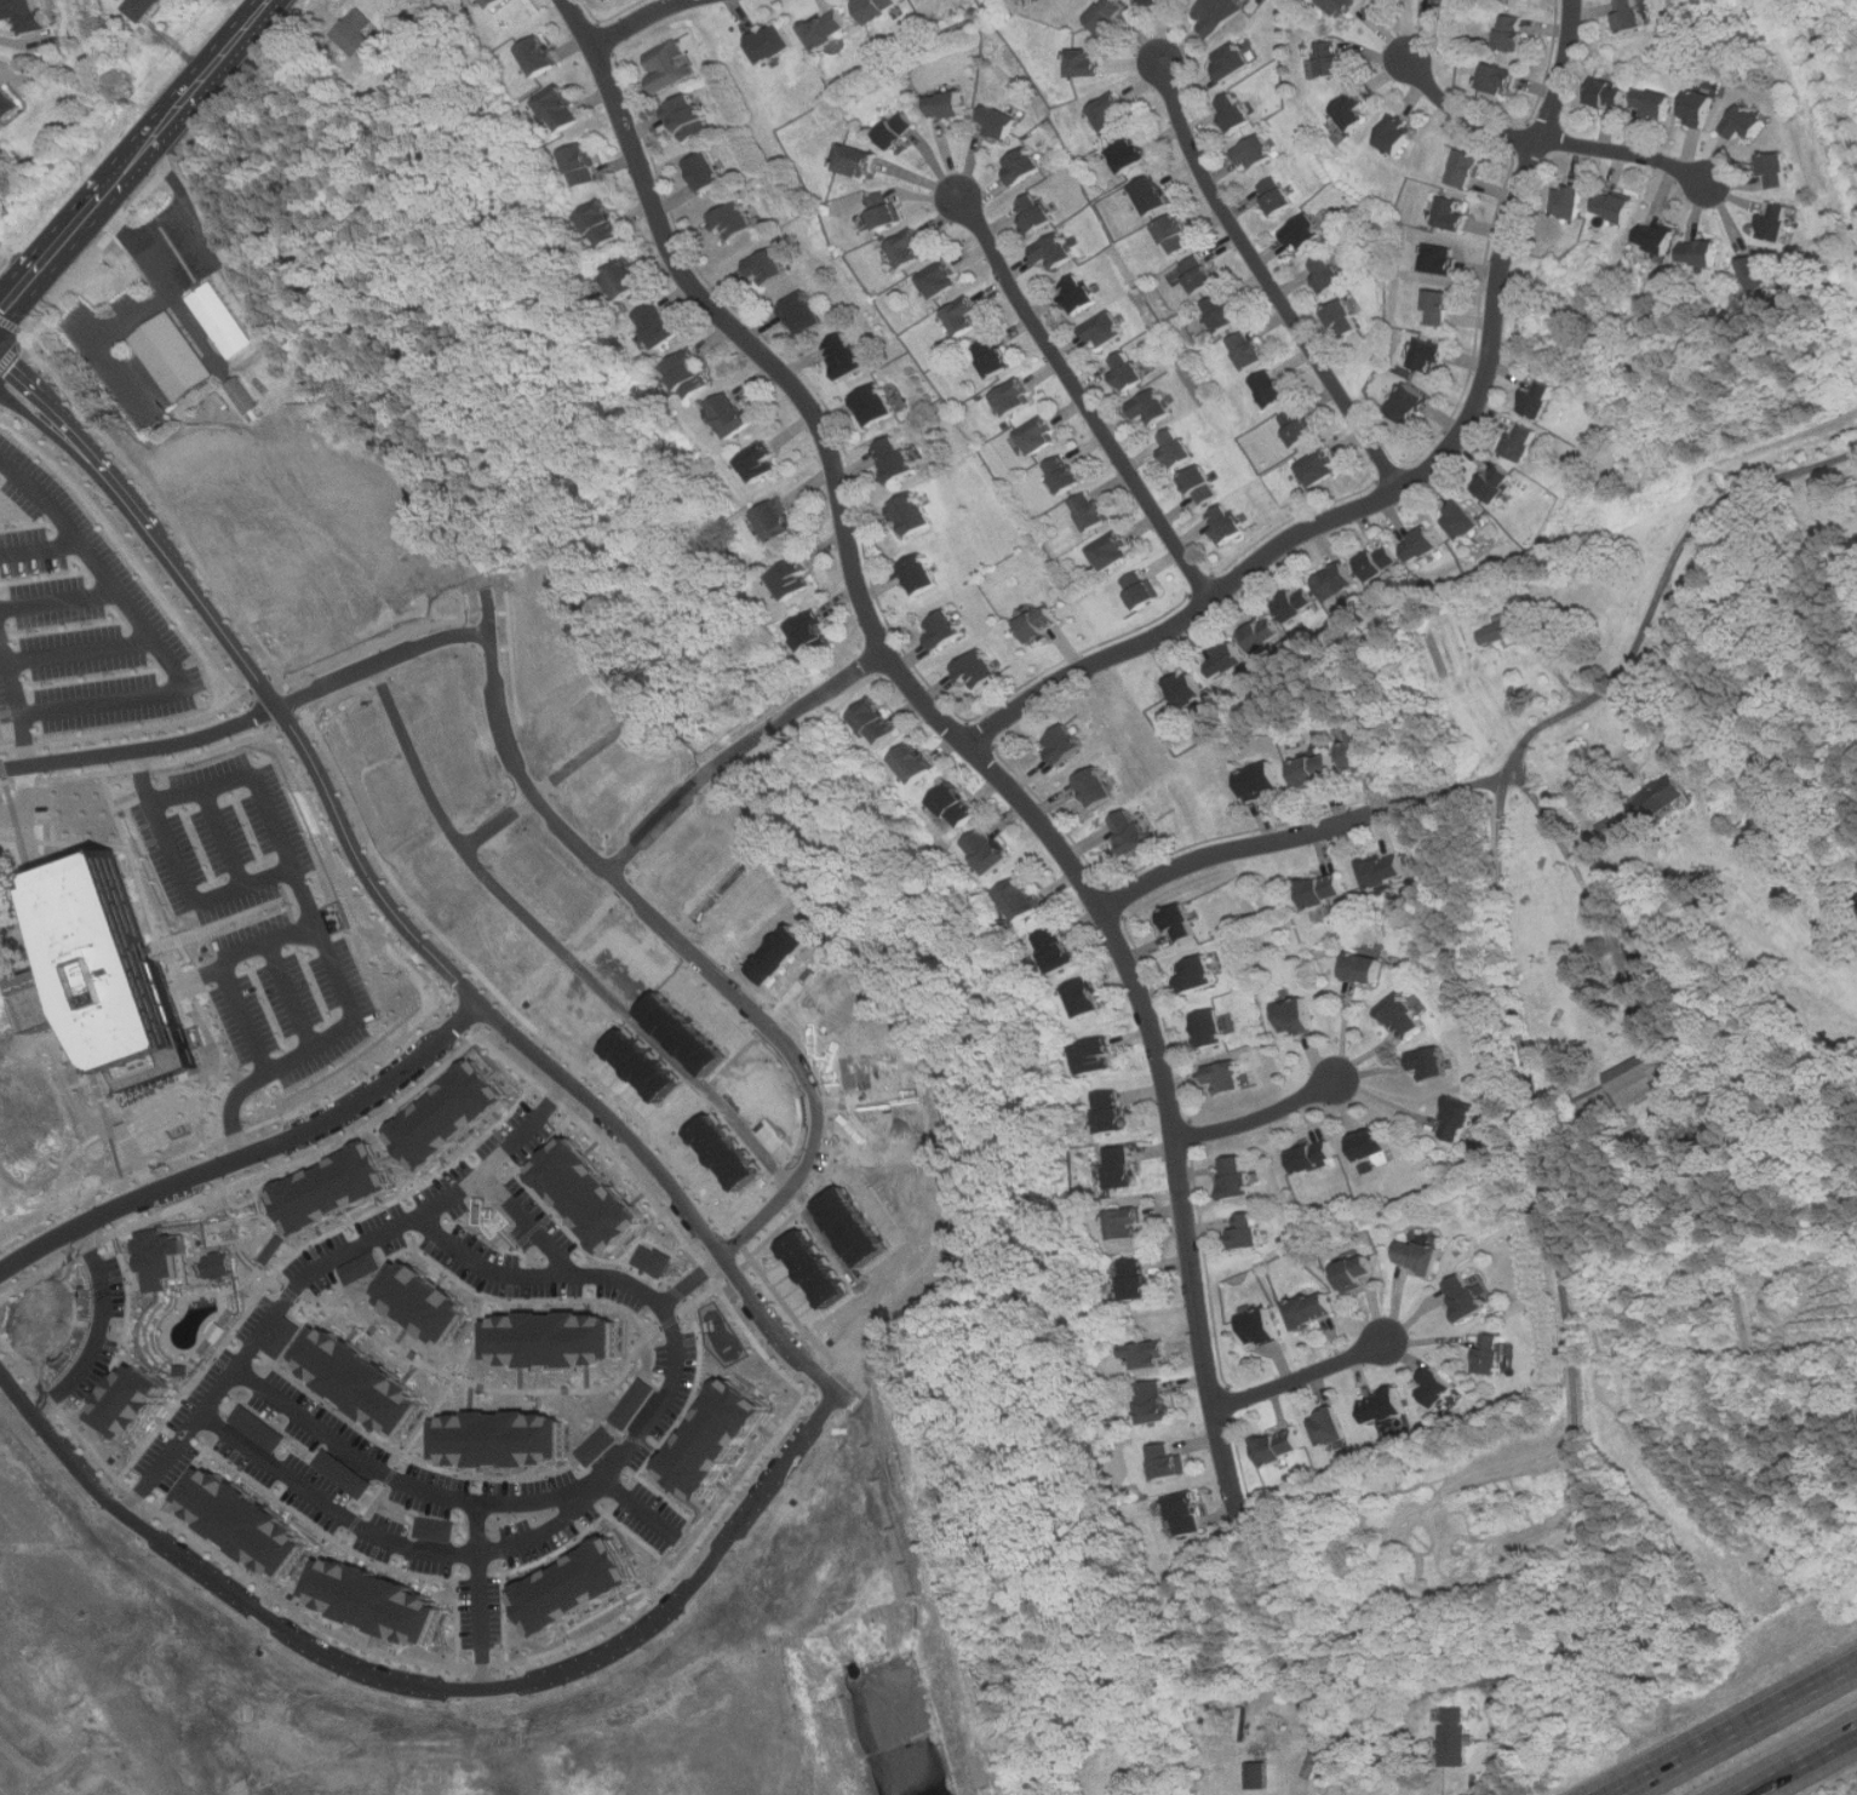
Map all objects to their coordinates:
building: (1446, 0)
building: (1160, 1)
building: (492, 2)
building: (1342, 6)
building: (142, 8)
building: (877, 8)
building: (27, 13)
building: (1219, 13)
building: (1108, 15)
building: (1630, 15)
road: (640, 21)
building: (830, 28)
building: (356, 31)
building: (1514, 33)
building: (774, 42)
building: (540, 55)
building: (1332, 57)
building: (1234, 59)
building: (1085, 62)
building: (669, 67)
building: (1501, 78)
road: (1829, 78)
building: (1610, 93)
building: (7, 101)
building: (1653, 103)
building: (947, 104)
building: (1700, 108)
building: (561, 109)
building: (1353, 109)
building: (1111, 110)
building: (1237, 111)
building: (689, 117)
building: (999, 121)
building: (1747, 122)
building: (896, 130)
building: (1398, 134)
road: (1547, 142)
building: (1256, 153)
road: (127, 154)
building: (1131, 154)
building: (856, 160)
building: (583, 165)
building: (1025, 165)
building: (1468, 168)
building: (1777, 170)
building: (709, 171)
building: (1154, 194)
building: (1278, 195)
building: (1571, 201)
building: (1617, 205)
building: (885, 208)
building: (1036, 212)
building: (1452, 213)
building: (735, 218)
building: (1778, 220)
building: (603, 223)
building: (1306, 233)
building: (1176, 234)
building: (1658, 236)
building: (910, 247)
building: (1056, 250)
building: (1702, 252)
building: (1440, 258)
building: (768, 266)
building: (1760, 271)
building: (1200, 273)
building: (1329, 273)
building: (626, 277)
building: (942, 279)
road: (1268, 280)
building: (1082, 292)
building: (1439, 308)
building: (806, 310)
building: (1225, 311)
building: (965, 314)
building: (1346, 317)
building: (223, 320)
building: (660, 323)
building: (1106, 328)
building: (1250, 349)
building: (847, 354)
building: (1433, 354)
building: (174, 356)
building: (995, 356)
building: (1128, 371)
building: (690, 373)
building: (1274, 386)
road: (1081, 396)
building: (246, 397)
building: (1015, 397)
building: (1541, 398)
building: (1410, 403)
building: (876, 405)
building: (1152, 406)
building: (732, 413)
building: (1300, 426)
building: (1041, 435)
building: (1521, 441)
building: (1177, 447)
building: (896, 458)
building: (761, 460)
building: (1322, 468)
building: (1066, 474)
road: (1412, 478)
building: (1497, 482)
building: (1203, 484)
building: (1093, 510)
building: (913, 514)
building: (1463, 518)
building: (779, 521)
building: (1228, 523)
building: (1422, 543)
road: (39, 550)
building: (1114, 551)
building: (1380, 561)
building: (922, 573)
building: (795, 578)
building: (1339, 581)
building: (1142, 587)
road: (56, 602)
building: (1297, 604)
building: (1041, 623)
building: (946, 629)
building: (1502, 630)
building: (1265, 633)
road: (139, 635)
building: (815, 635)
road: (74, 652)
building: (1227, 659)
road: (1680, 665)
building: (979, 670)
building: (1188, 688)
road: (15, 710)
road: (248, 717)
building: (877, 721)
road: (958, 733)
building: (1065, 744)
road: (739, 750)
building: (1358, 752)
building: (916, 762)
building: (1317, 770)
road: (142, 779)
building: (1262, 780)
road: (544, 786)
building: (1097, 787)
road: (1451, 788)
building: (1663, 797)
building: (957, 805)
building: (1609, 828)
building: (1131, 832)
road: (222, 839)
road: (1244, 844)
road: (283, 849)
building: (990, 850)
building: (1386, 871)
building: (1325, 890)
road: (711, 895)
road: (1586, 895)
building: (1022, 900)
road: (382, 904)
building: (1181, 924)
building: (1060, 950)
building: (1643, 956)
road: (695, 957)
building: (1365, 967)
road: (224, 973)
building: (1197, 973)
road: (1512, 973)
building: (107, 975)
road: (592, 988)
road: (797, 988)
road: (290, 997)
building: (1088, 997)
building: (1297, 1016)
building: (1405, 1016)
building: (1213, 1028)
building: (678, 1033)
building: (1096, 1056)
building: (1431, 1062)
building: (638, 1065)
building: (1226, 1077)
building: (1640, 1078)
road: (867, 1101)
building: (1113, 1112)
building: (445, 1114)
road: (1257, 1116)
building: (1460, 1119)
building: (1372, 1143)
building: (721, 1152)
road: (246, 1153)
building: (1314, 1159)
building: (1123, 1166)
building: (1238, 1177)
building: (327, 1187)
building: (585, 1194)
road: (522, 1222)
building: (1130, 1223)
building: (848, 1227)
building: (1246, 1233)
building: (264, 1249)
building: (1420, 1256)
building: (154, 1257)
building: (648, 1260)
building: (210, 1264)
road: (315, 1267)
building: (353, 1267)
building: (1356, 1273)
building: (1139, 1279)
building: (1466, 1297)
building: (417, 1302)
building: (1313, 1311)
building: (1261, 1326)
road: (99, 1327)
building: (275, 1337)
building: (549, 1338)
building: (1150, 1354)
building: (1492, 1354)
road: (1300, 1376)
building: (354, 1380)
building: (1439, 1387)
building: (131, 1401)
building: (1156, 1401)
building: (632, 1403)
building: (1386, 1406)
building: (1330, 1426)
building: (253, 1428)
building: (495, 1438)
building: (713, 1439)
building: (596, 1446)
building: (1280, 1446)
road: (625, 1457)
building: (1170, 1462)
building: (337, 1473)
building: (1188, 1514)
building: (241, 1521)
building: (430, 1529)
road: (405, 1548)
building: (575, 1585)
road: (476, 1598)
building: (372, 1600)
road: (1511, 1675)
road: (418, 1691)
road: (1737, 1730)
building: (1455, 1737)
road: (1800, 1764)
building: (1259, 1776)

